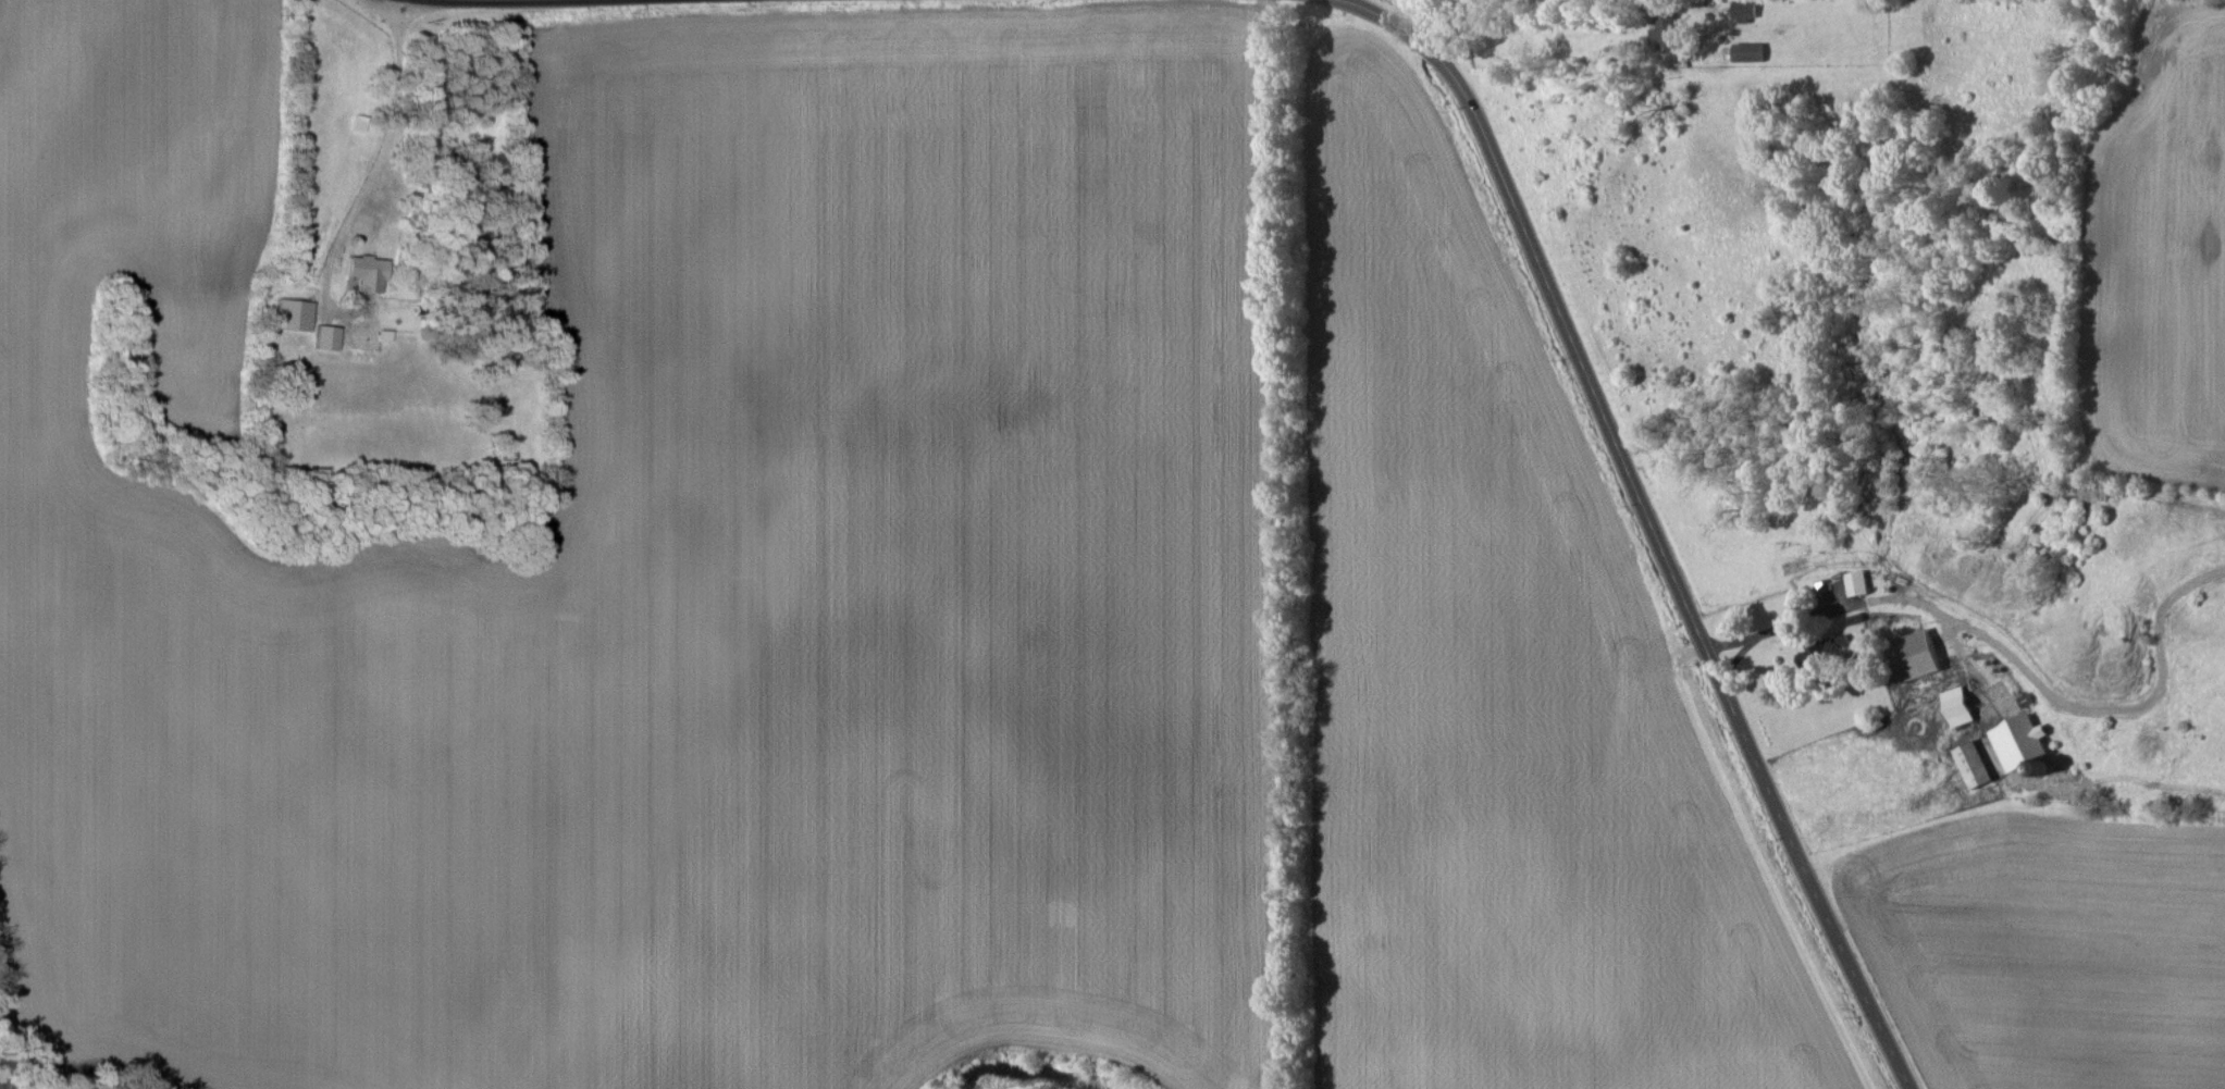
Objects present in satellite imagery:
building: (1744, 9)
road: (1574, 16)
building: (1668, 37)
building: (1747, 52)
road: (383, 150)
building: (367, 272)
building: (294, 314)
building: (326, 337)
road: (1646, 520)
building: (1856, 583)
road: (1779, 629)
building: (1820, 652)
building: (1913, 656)
building: (1956, 706)
building: (2019, 741)
building: (1973, 765)

